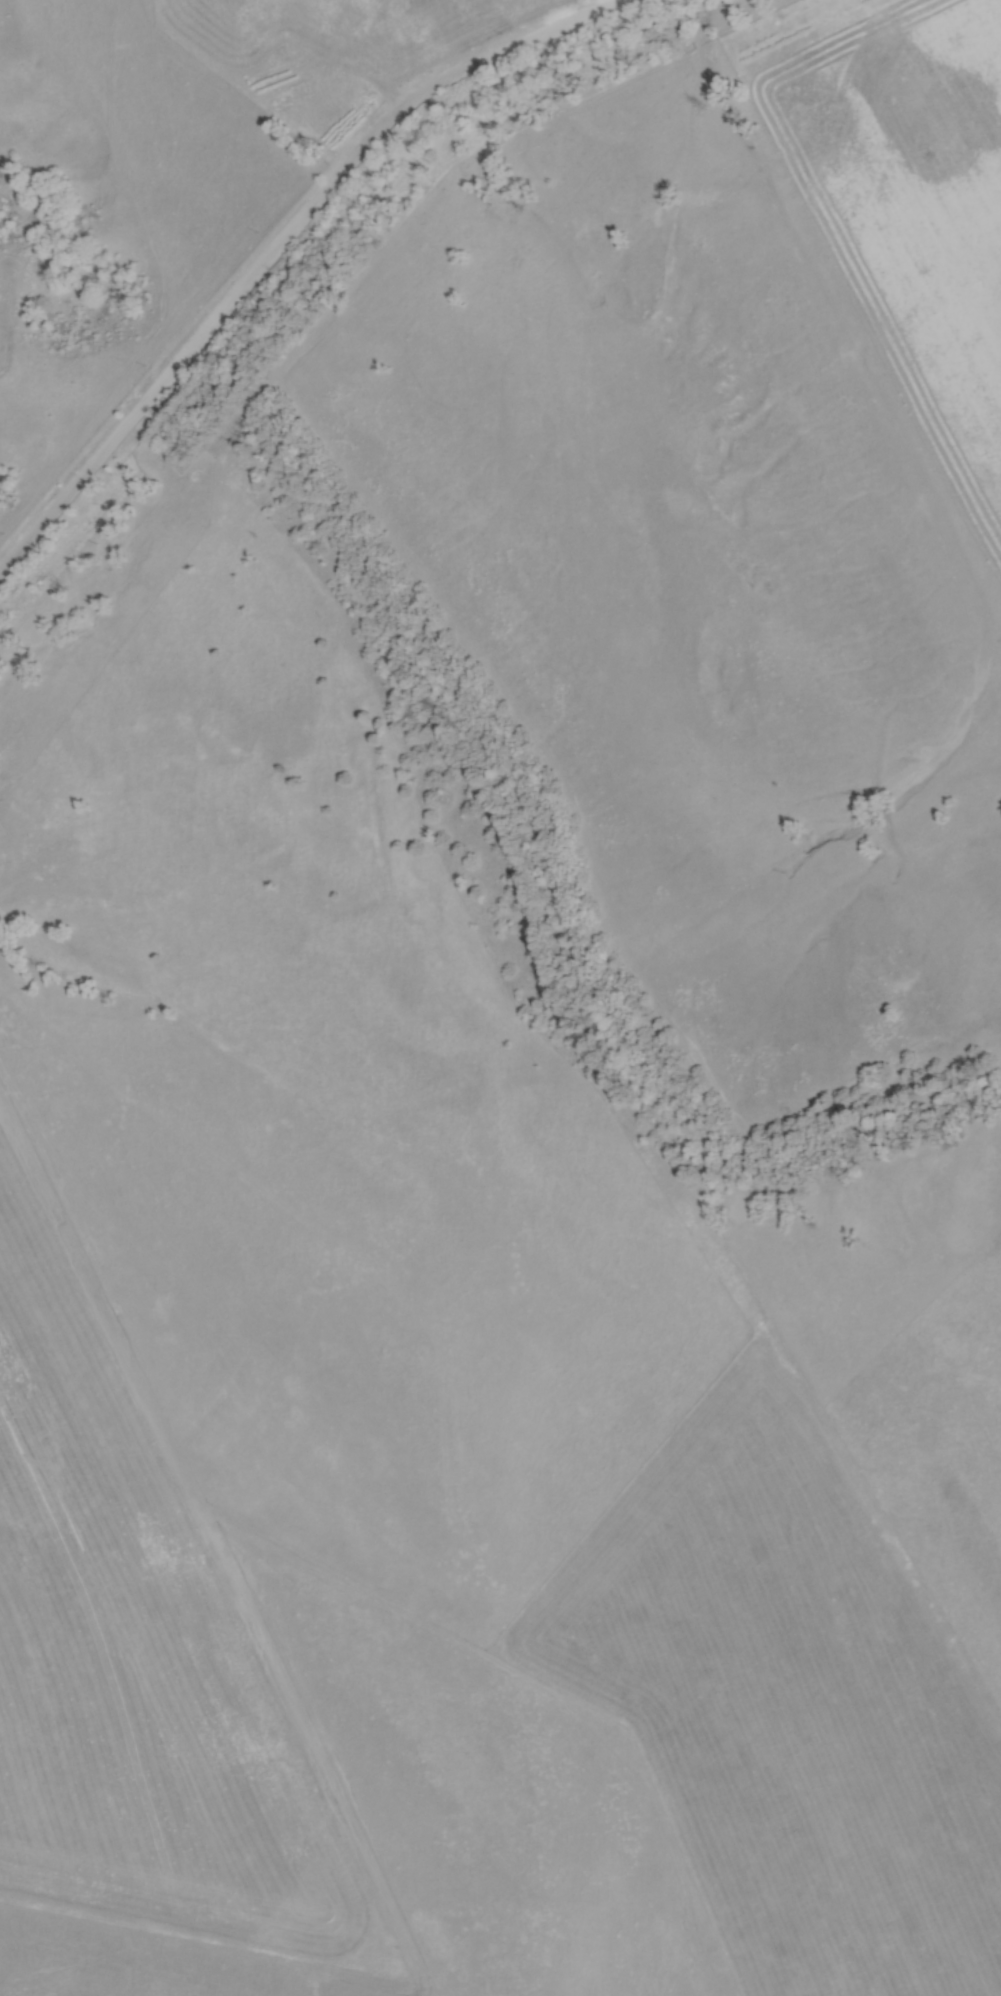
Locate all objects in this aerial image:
road: (278, 246)

